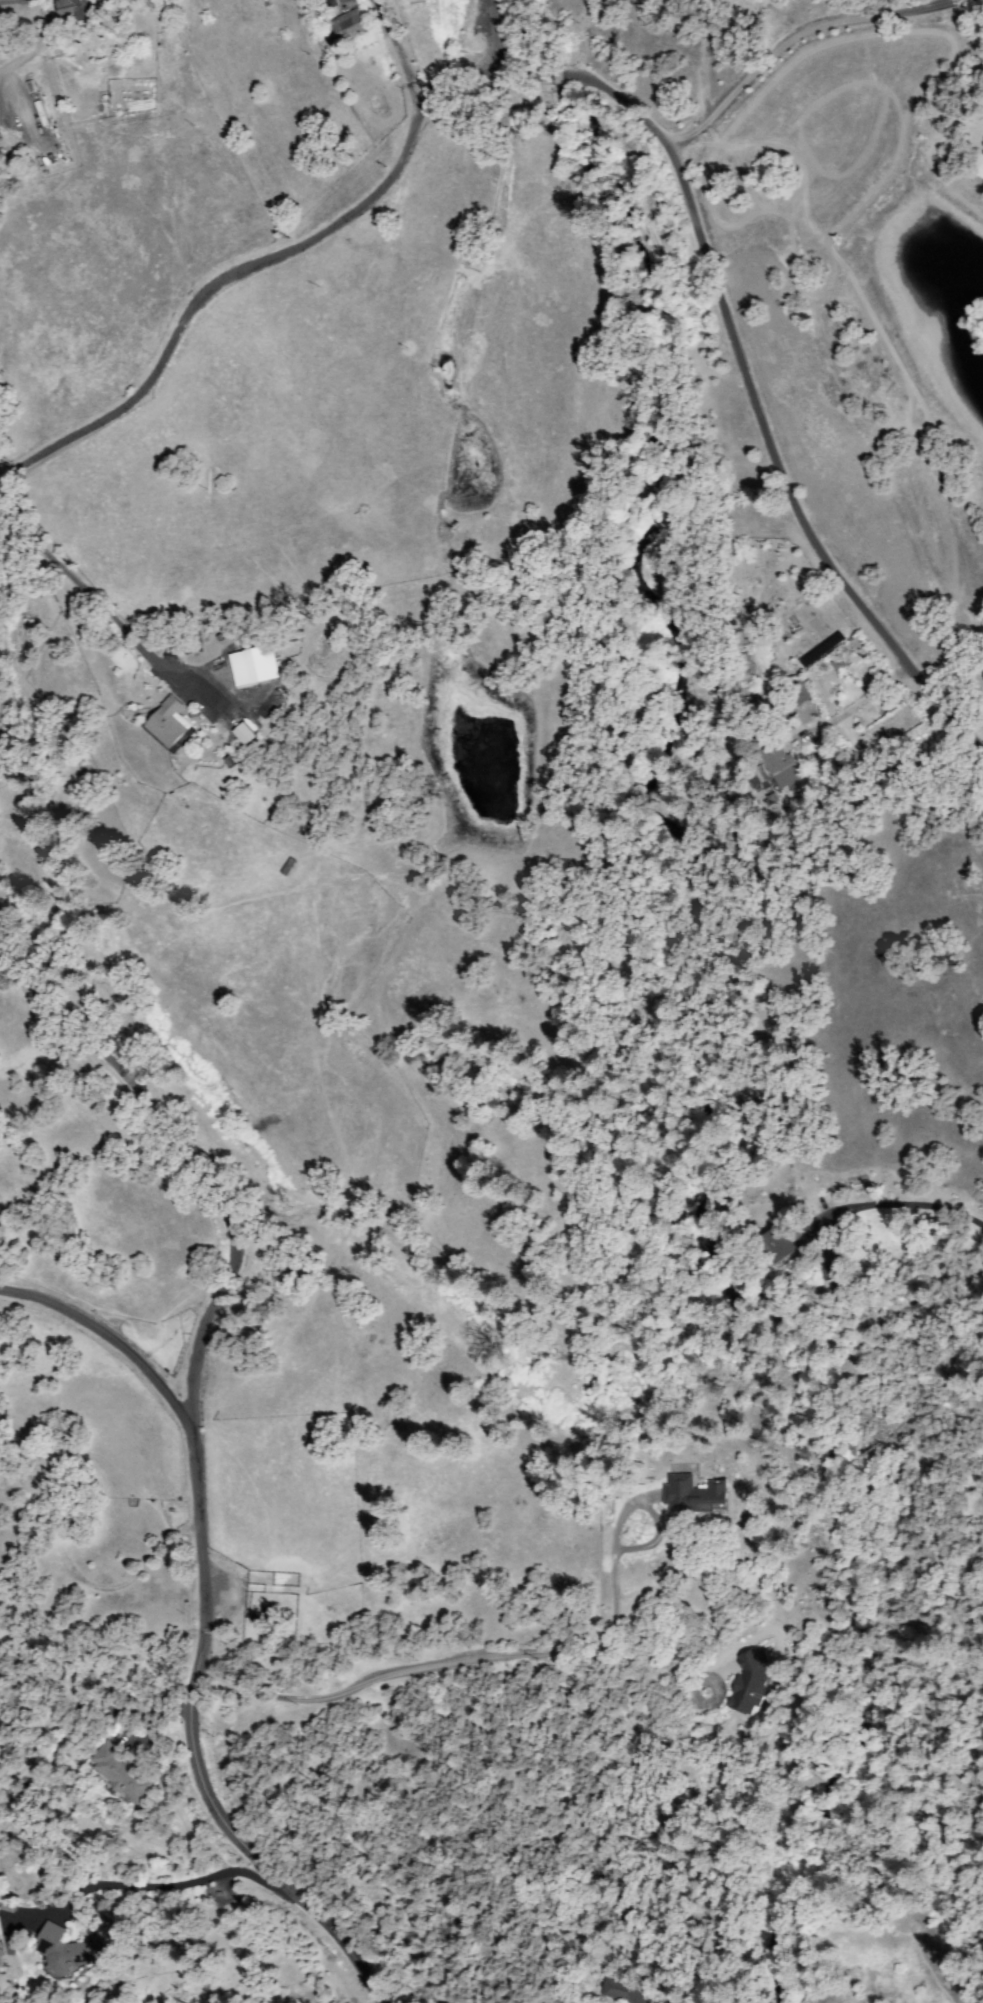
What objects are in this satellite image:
building: (326, 3)
building: (332, 3)
building: (80, 9)
building: (348, 26)
road: (783, 38)
road: (394, 58)
road: (664, 71)
road: (4, 74)
road: (488, 121)
road: (252, 262)
road: (38, 345)
road: (745, 380)
road: (76, 513)
road: (802, 600)
building: (837, 664)
building: (254, 666)
building: (745, 673)
building: (801, 692)
building: (170, 725)
building: (247, 733)
building: (771, 760)
building: (779, 1246)
building: (831, 1264)
road: (874, 1291)
road: (103, 1338)
road: (191, 1446)
building: (695, 1496)
building: (59, 1518)
building: (753, 1682)
building: (124, 1775)
road: (327, 1838)
building: (66, 1951)
road: (577, 1986)
building: (626, 1991)

